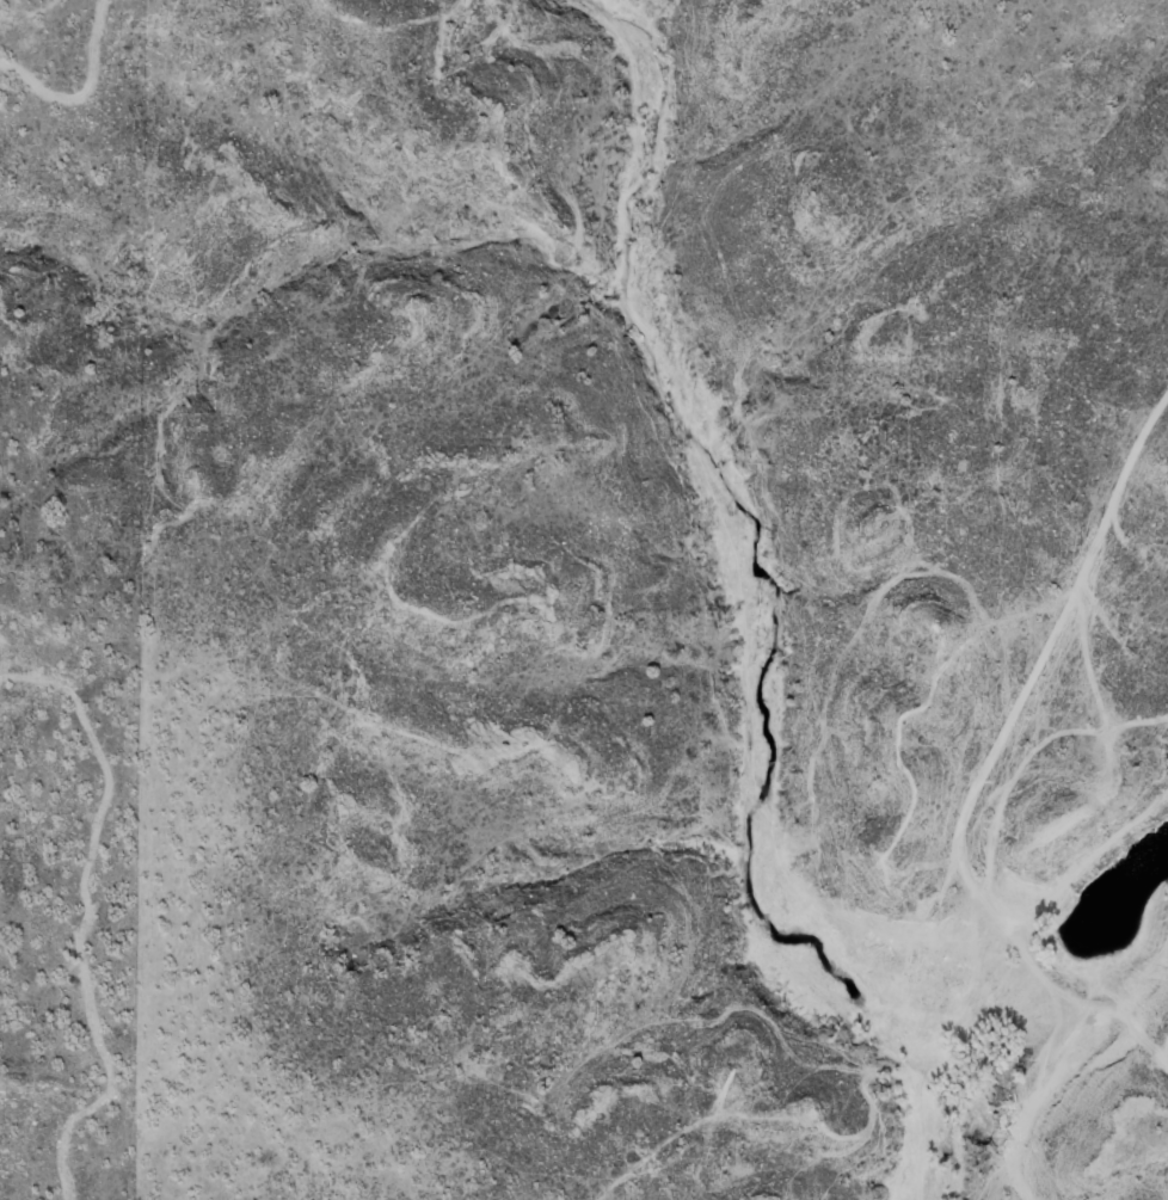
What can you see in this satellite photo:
road: (988, 759)

